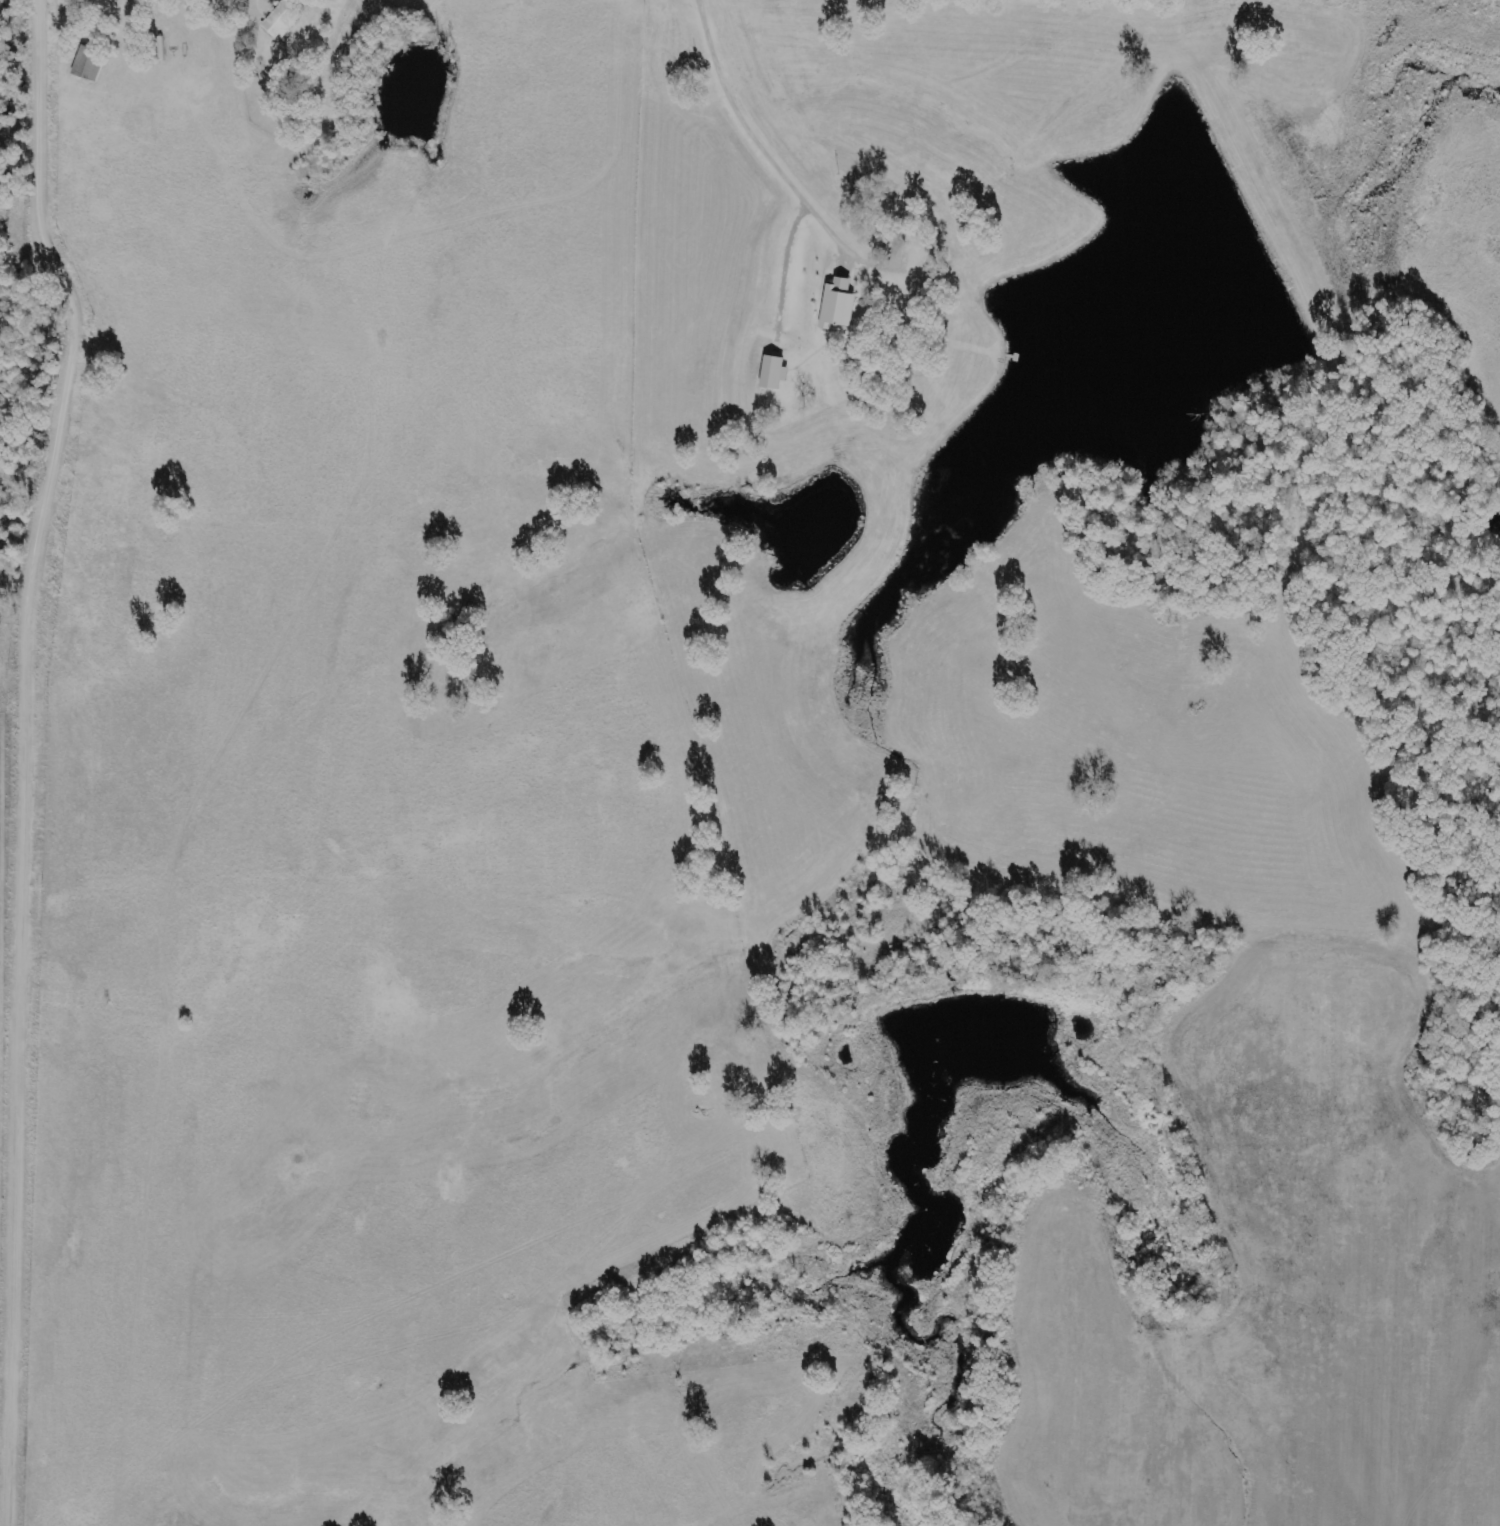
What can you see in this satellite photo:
building: (775, 371)
road: (98, 475)
road: (29, 1242)
road: (1121, 1340)

